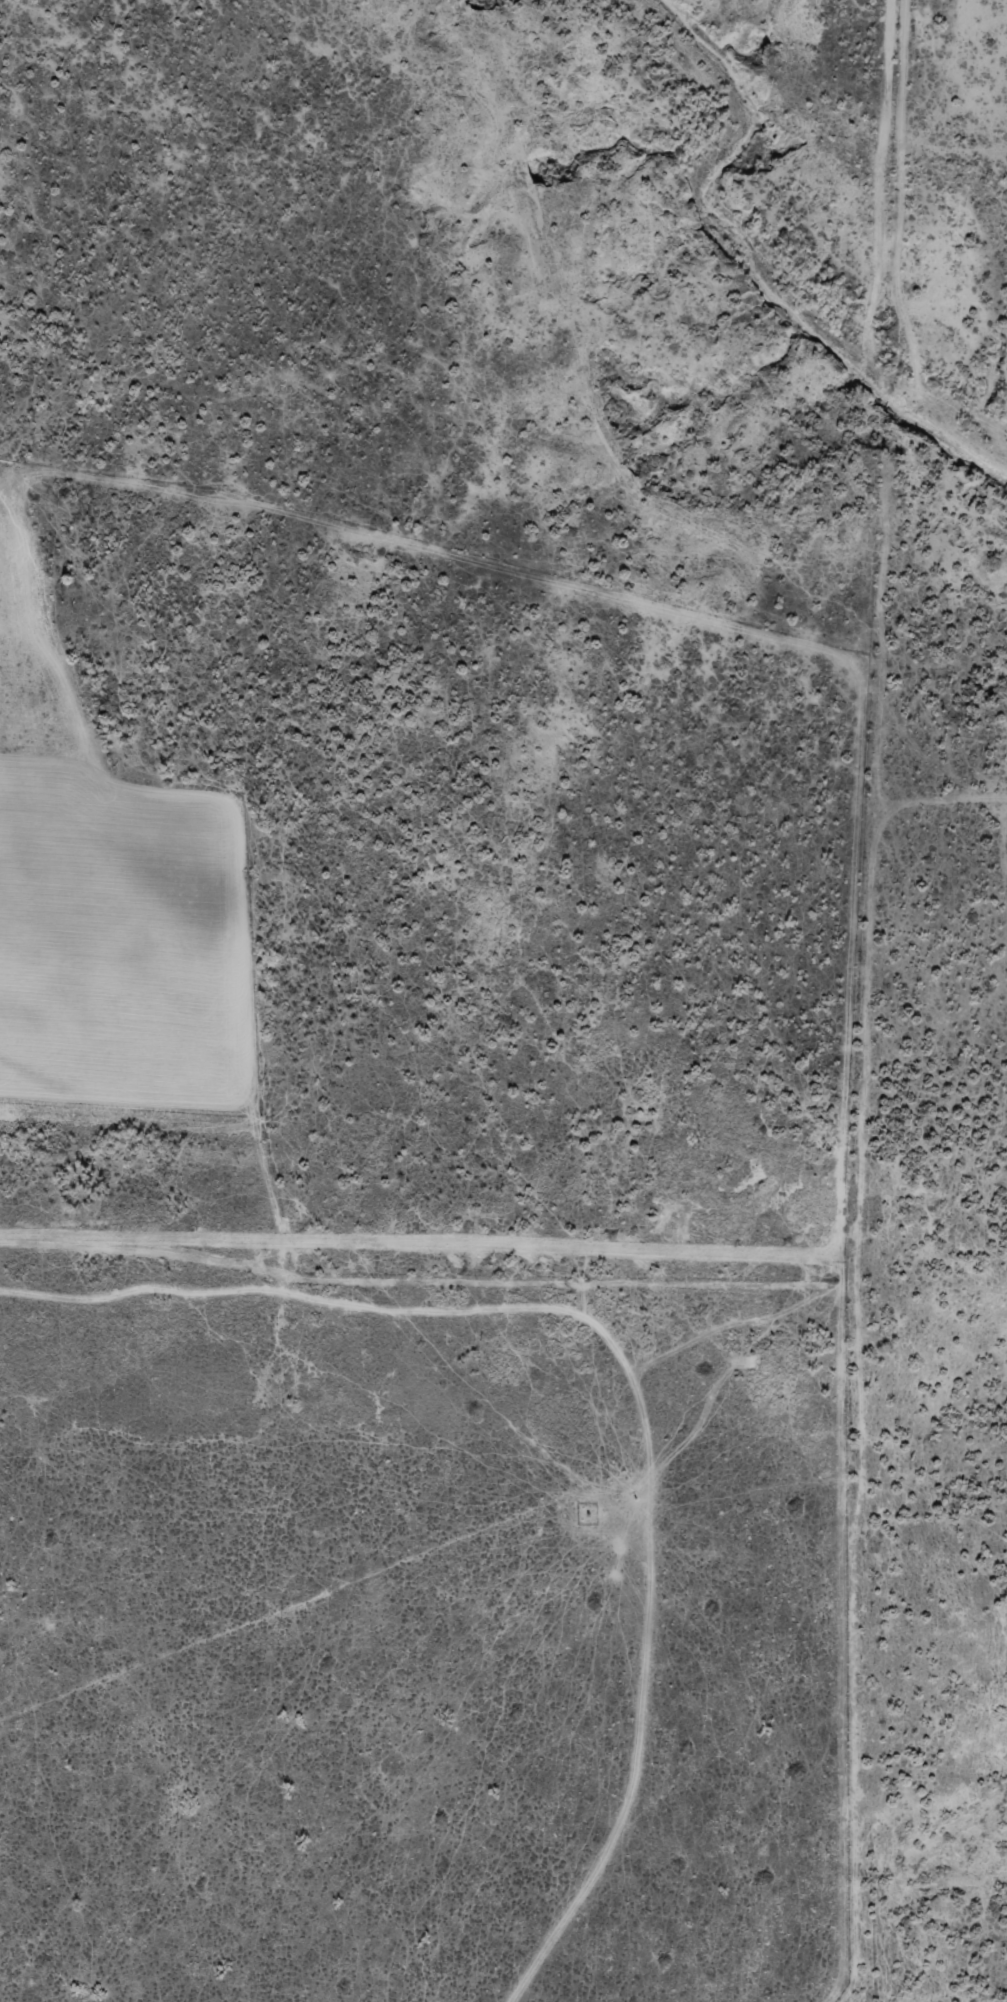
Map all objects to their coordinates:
road: (656, 1389)

